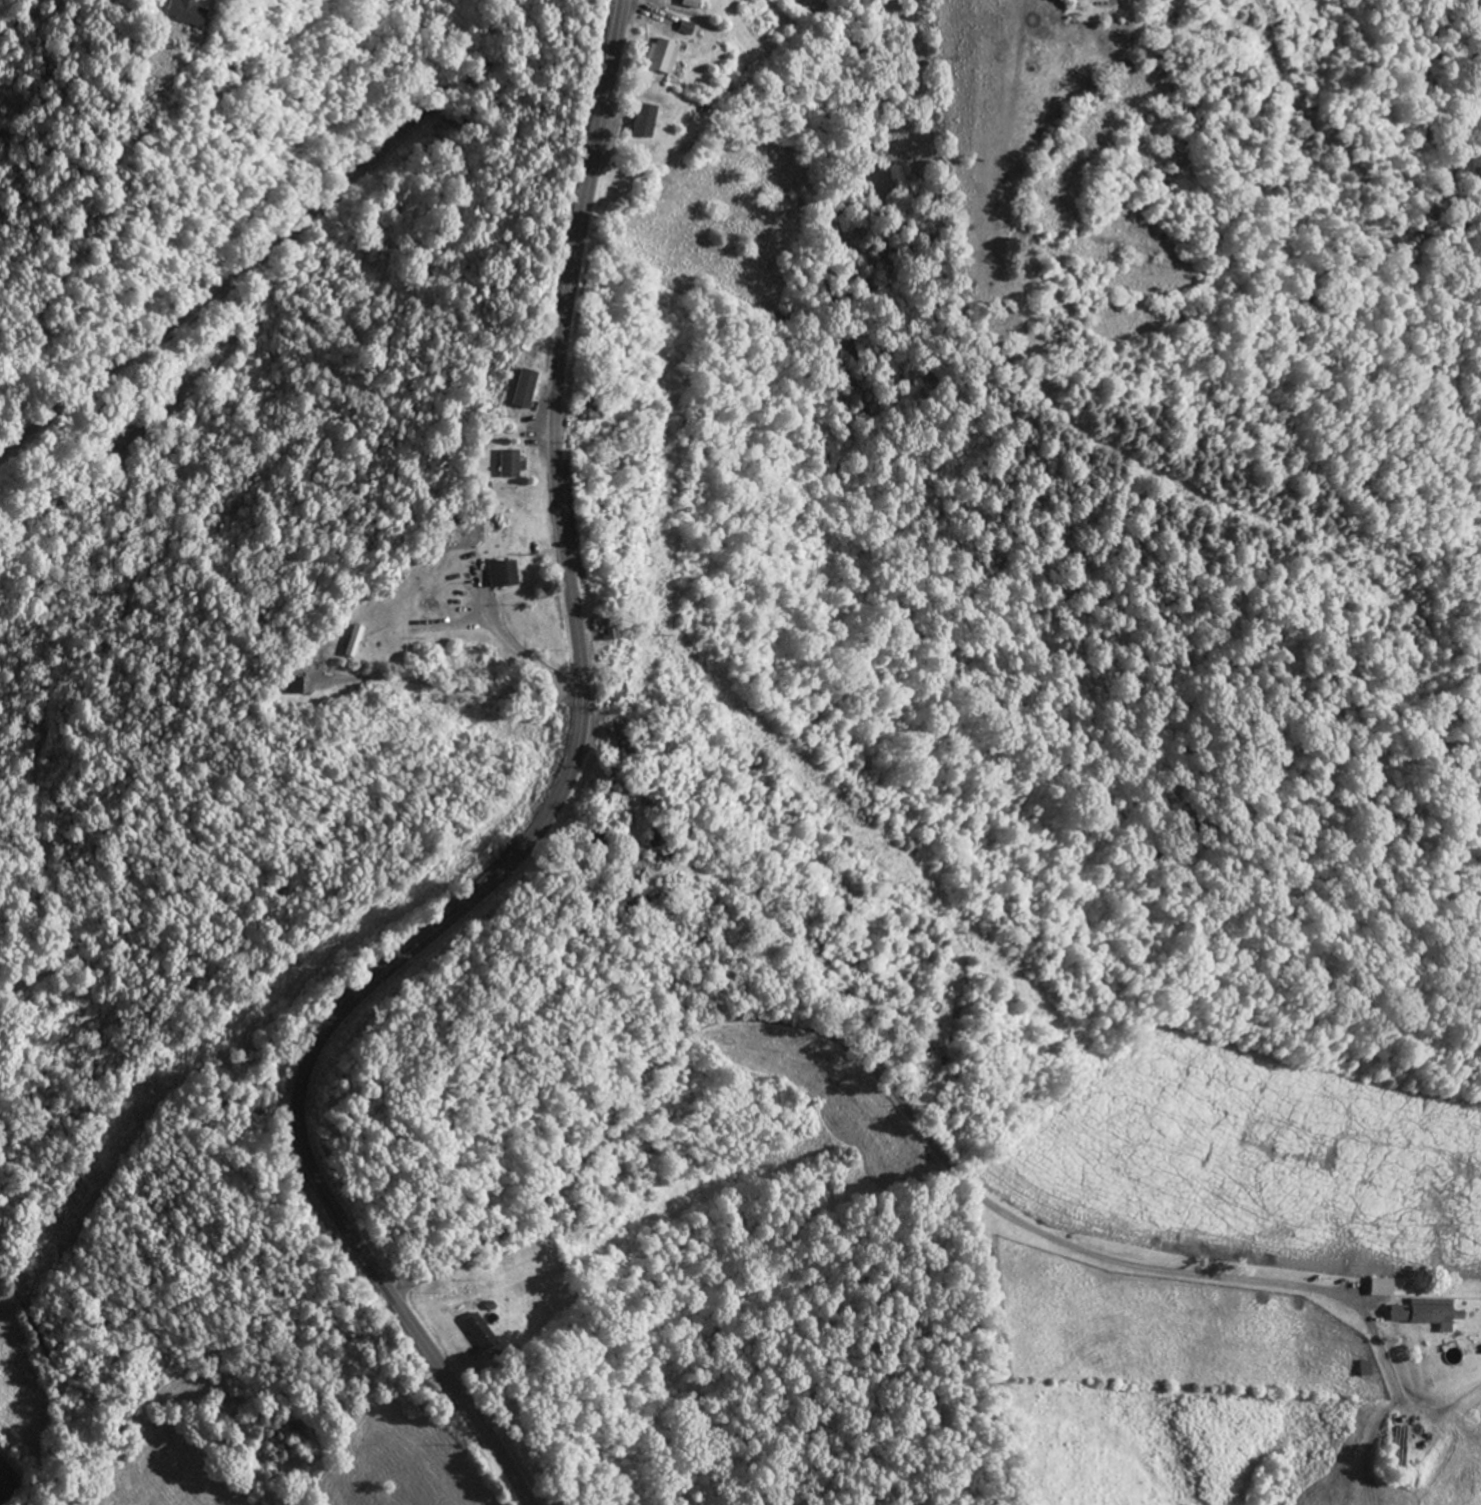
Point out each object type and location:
building: (696, 3)
building: (186, 11)
building: (664, 55)
building: (648, 128)
railway: (209, 275)
building: (525, 378)
building: (589, 408)
building: (510, 463)
building: (504, 573)
building: (438, 606)
building: (612, 626)
building: (355, 641)
building: (296, 669)
building: (291, 686)
road: (625, 789)
road: (542, 825)
building: (630, 902)
road: (861, 1058)
building: (263, 1100)
road: (130, 1275)
building: (1382, 1286)
building: (1425, 1311)
building: (480, 1330)
building: (1409, 1440)

